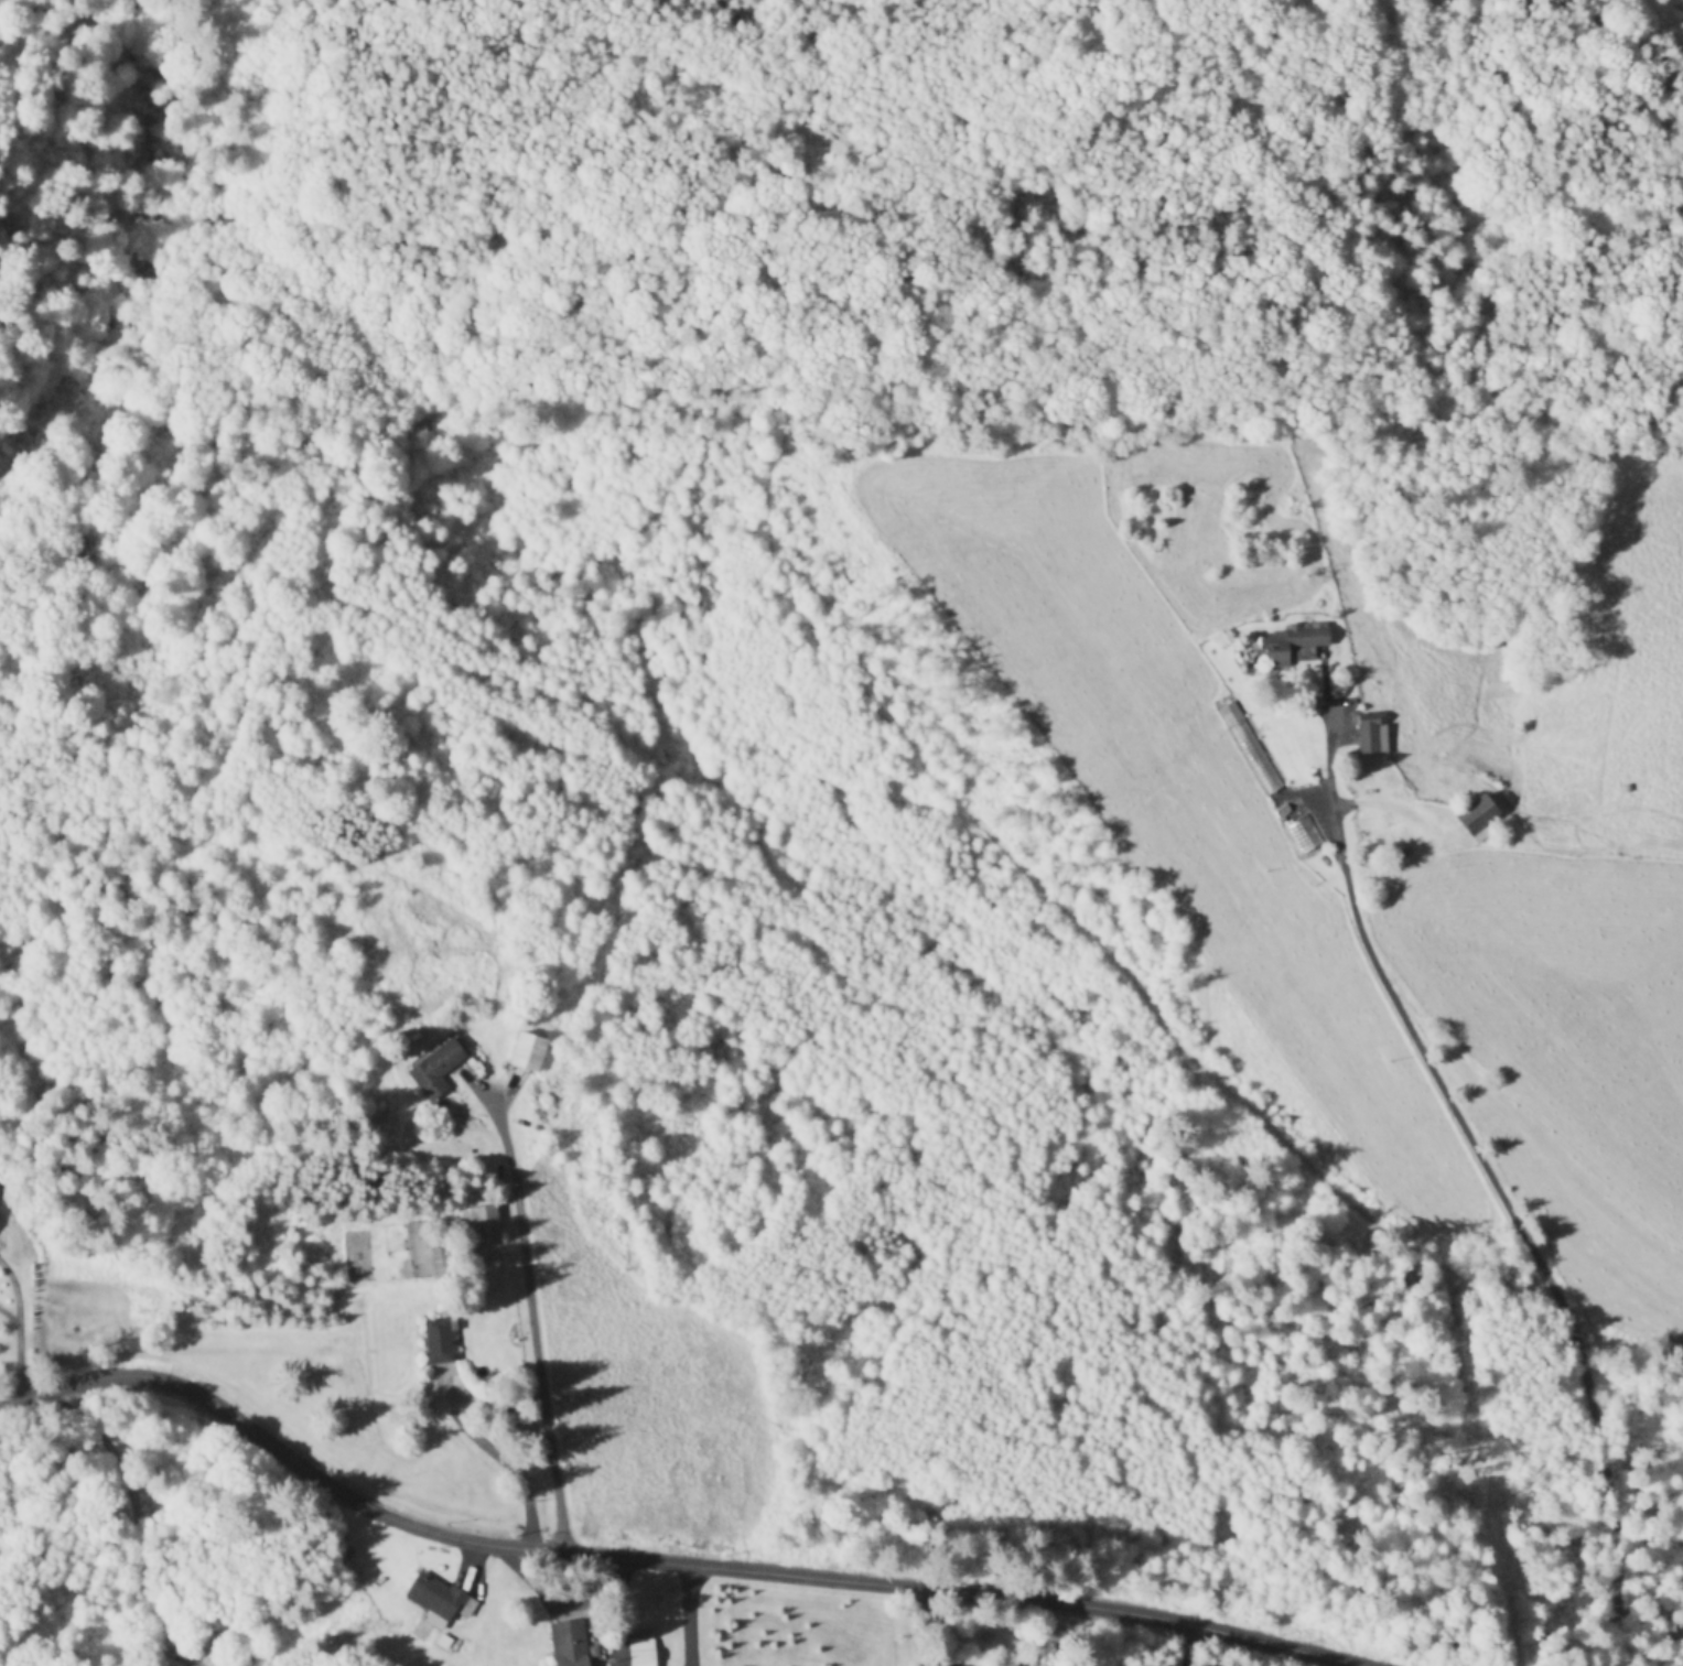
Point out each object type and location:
building: (1294, 646)
building: (1369, 735)
building: (1256, 759)
building: (1478, 818)
building: (528, 1053)
building: (436, 1068)
building: (478, 1226)
road: (15, 1291)
road: (518, 1303)
road: (10, 1316)
building: (438, 1341)
road: (20, 1362)
road: (673, 1561)
building: (436, 1600)
building: (568, 1643)
building: (641, 1652)

